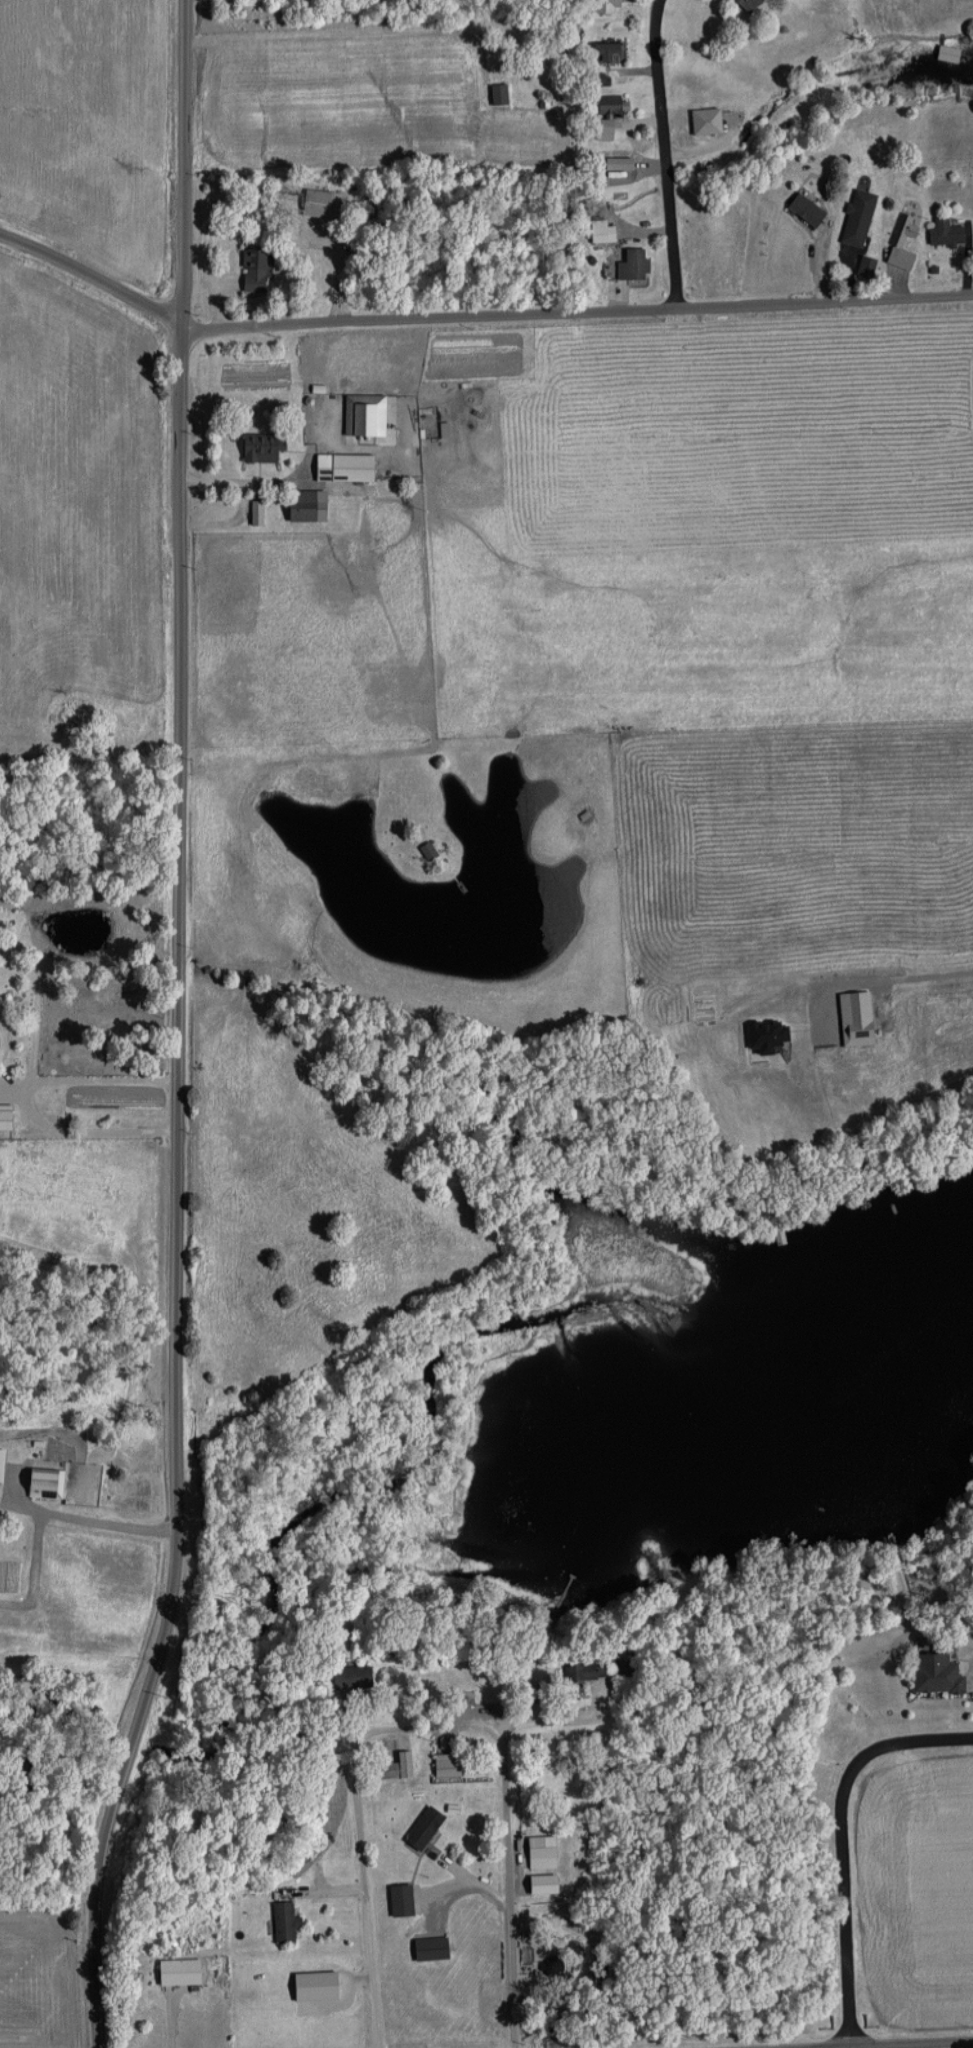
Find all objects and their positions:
building: (746, 2)
building: (604, 6)
building: (602, 53)
building: (496, 95)
building: (605, 105)
road: (665, 154)
building: (313, 203)
building: (803, 209)
building: (855, 218)
building: (943, 232)
building: (596, 234)
building: (898, 242)
building: (629, 264)
building: (250, 270)
road: (474, 320)
building: (362, 414)
building: (259, 446)
building: (341, 467)
building: (302, 505)
building: (425, 851)
road: (911, 960)
road: (177, 1028)
road: (26, 1102)
building: (4, 1117)
building: (0, 1462)
building: (41, 1484)
road: (83, 1526)
building: (581, 1671)
building: (933, 1674)
building: (351, 1677)
road: (353, 1760)
building: (393, 1767)
building: (444, 1767)
building: (421, 1828)
road: (843, 1842)
building: (539, 1852)
road: (516, 1892)
building: (398, 1900)
building: (427, 1948)
building: (175, 1970)
road: (890, 2043)

